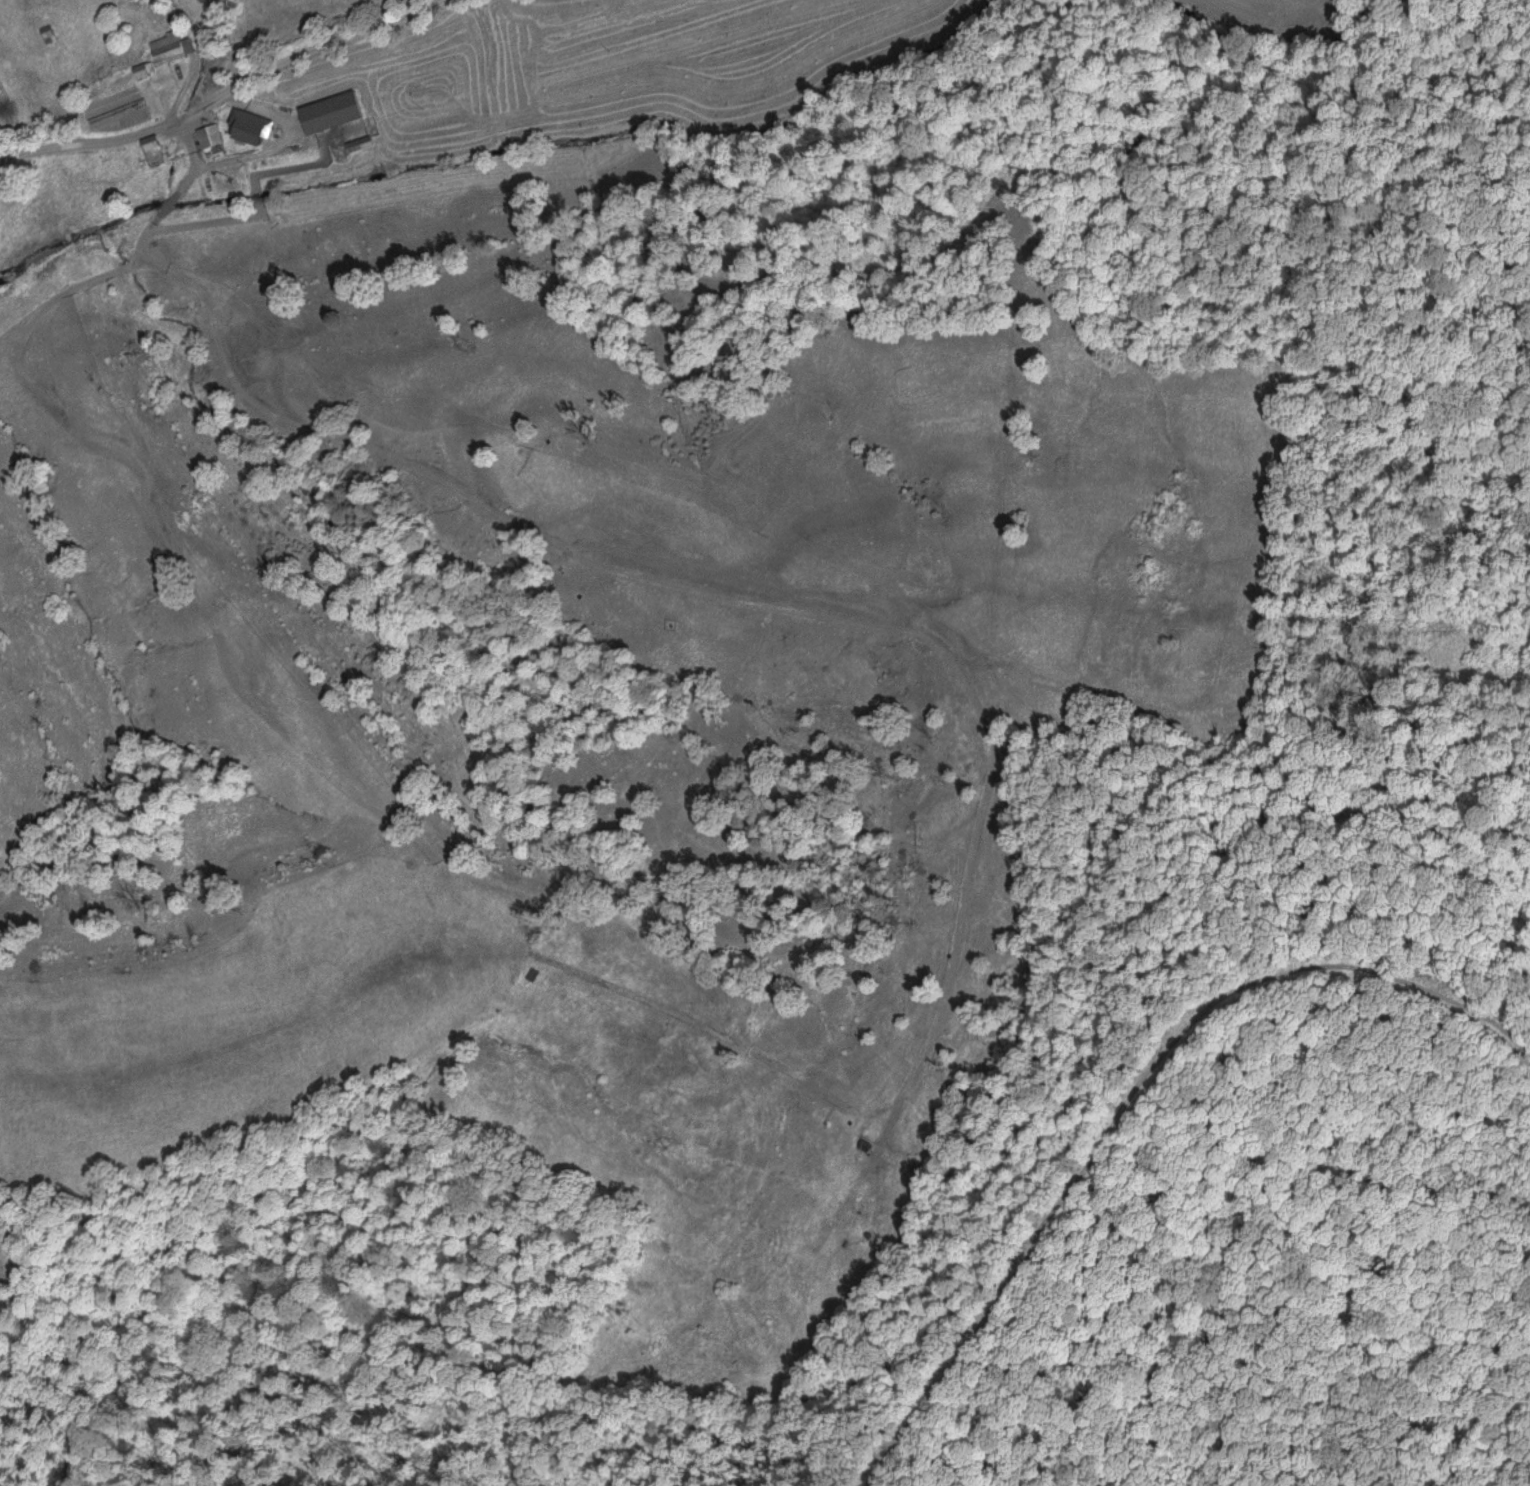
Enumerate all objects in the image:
building: (166, 48)
building: (140, 71)
road: (222, 92)
building: (248, 131)
building: (206, 136)
road: (266, 149)
building: (150, 150)
road: (855, 623)

